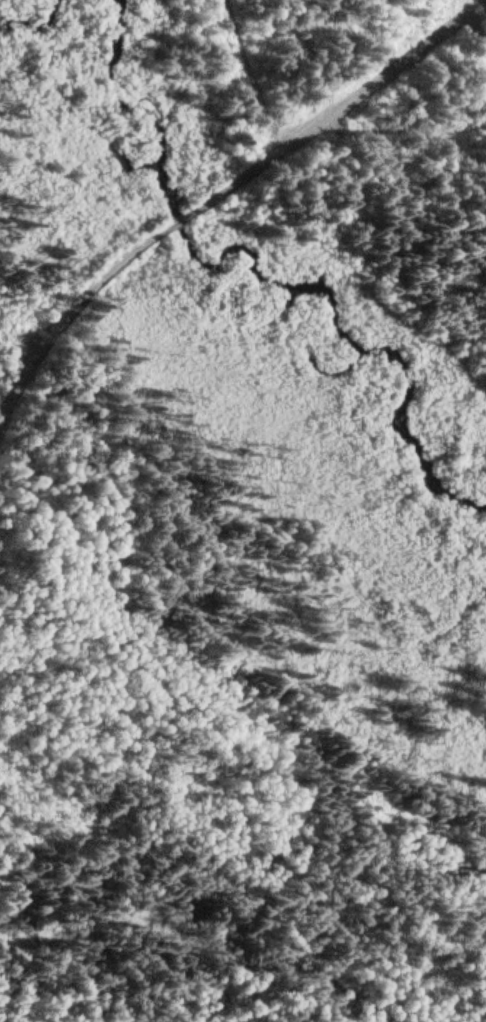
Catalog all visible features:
road: (228, 190)

